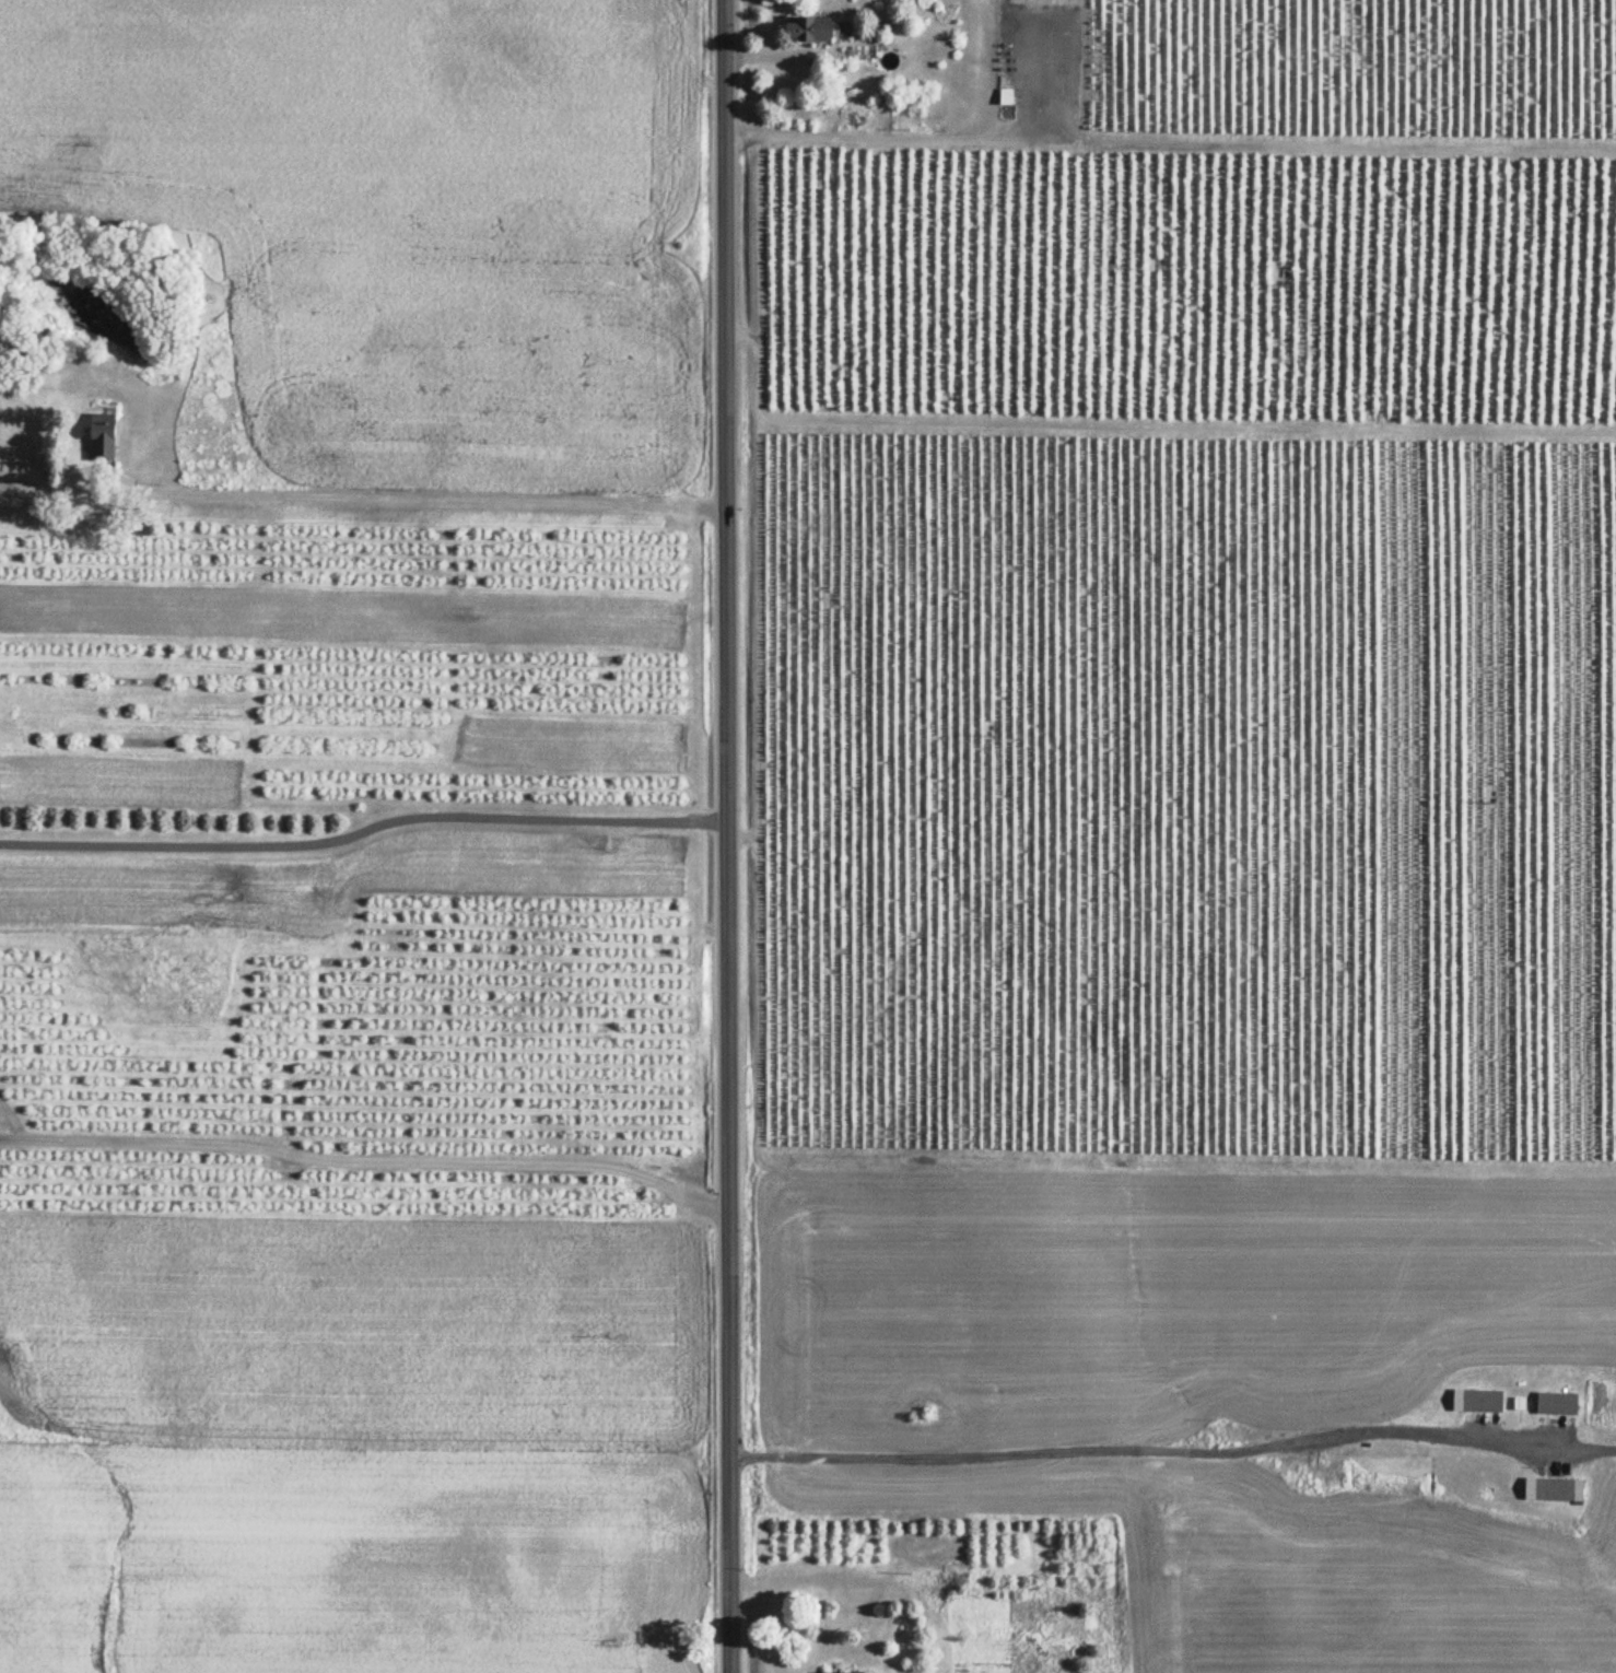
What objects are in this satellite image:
building: (817, 30)
building: (107, 436)
road: (43, 492)
road: (408, 500)
road: (363, 827)
road: (726, 836)
road: (14, 1119)
road: (13, 1136)
road: (380, 1159)
building: (1483, 1401)
building: (1557, 1404)
road: (1173, 1446)
building: (1555, 1490)

